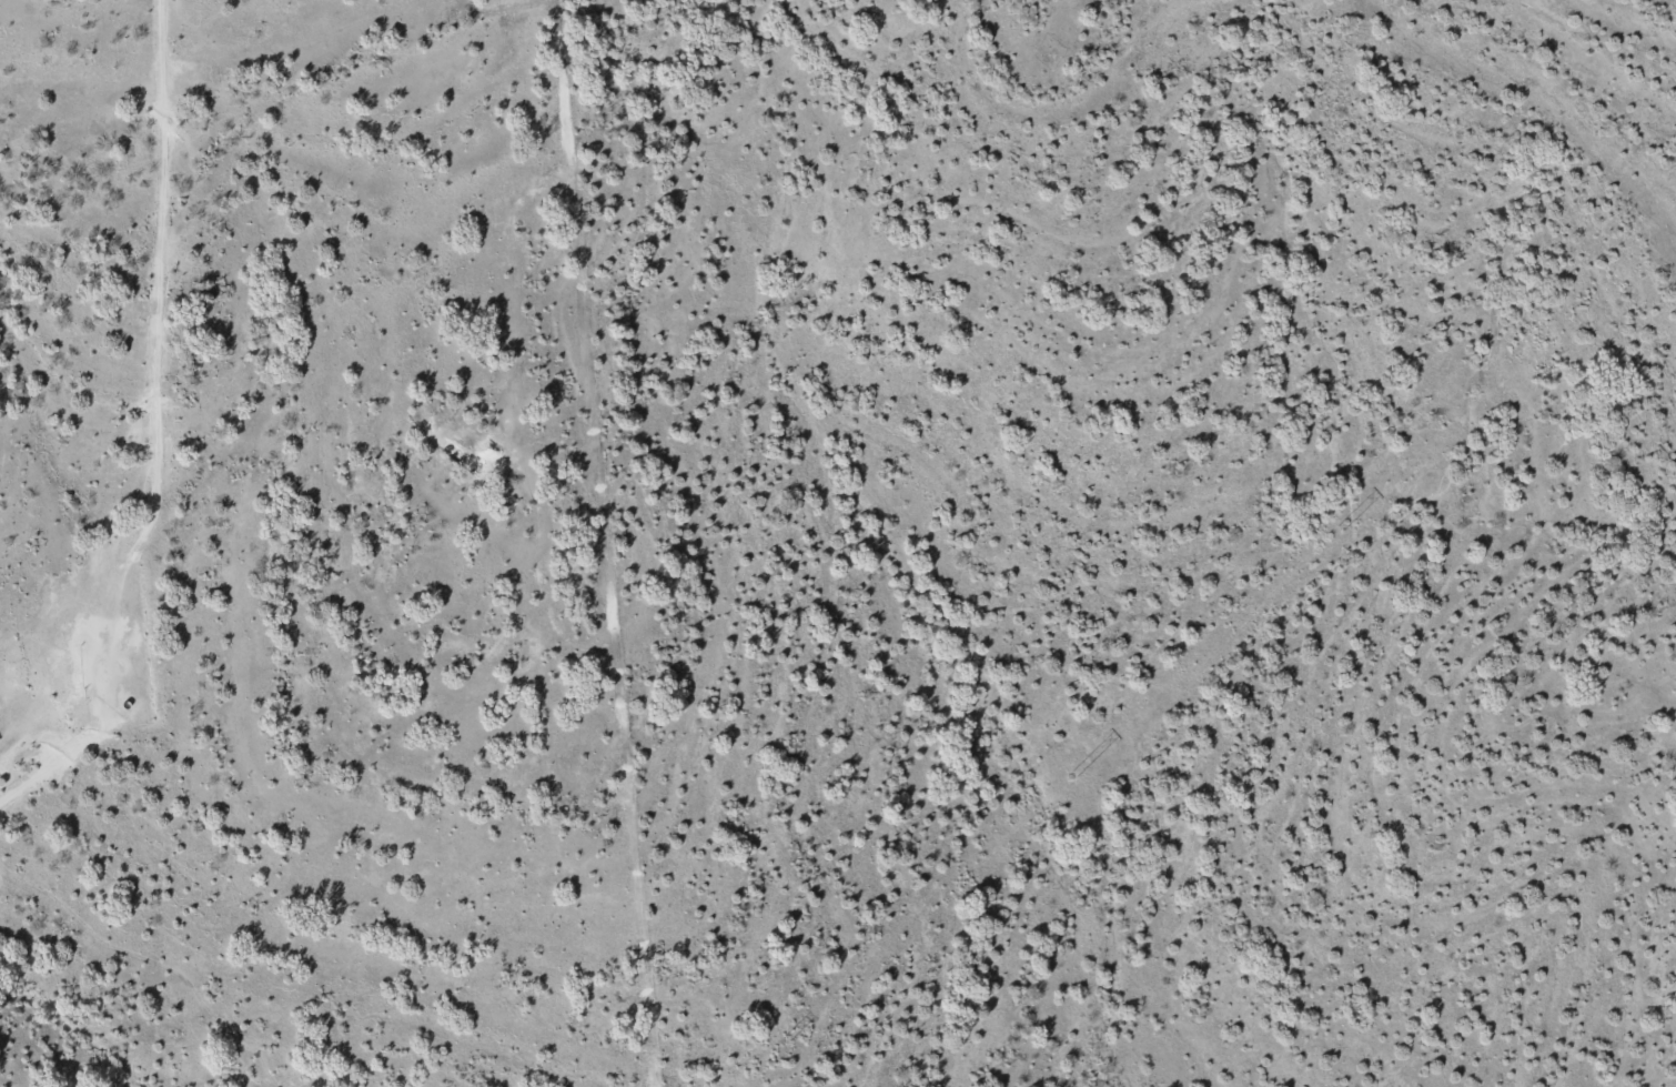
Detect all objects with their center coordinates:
road: (148, 323)
power tower: (1337, 532)
road: (84, 742)
power tower: (1068, 776)
power tower: (755, 1041)

